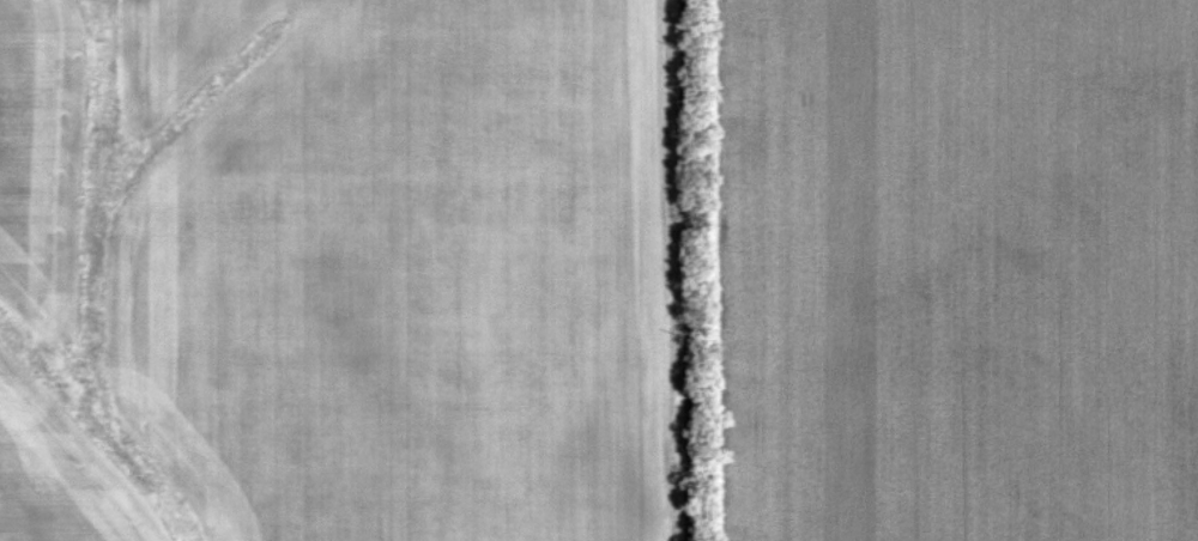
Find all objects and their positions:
road: (680, 270)

